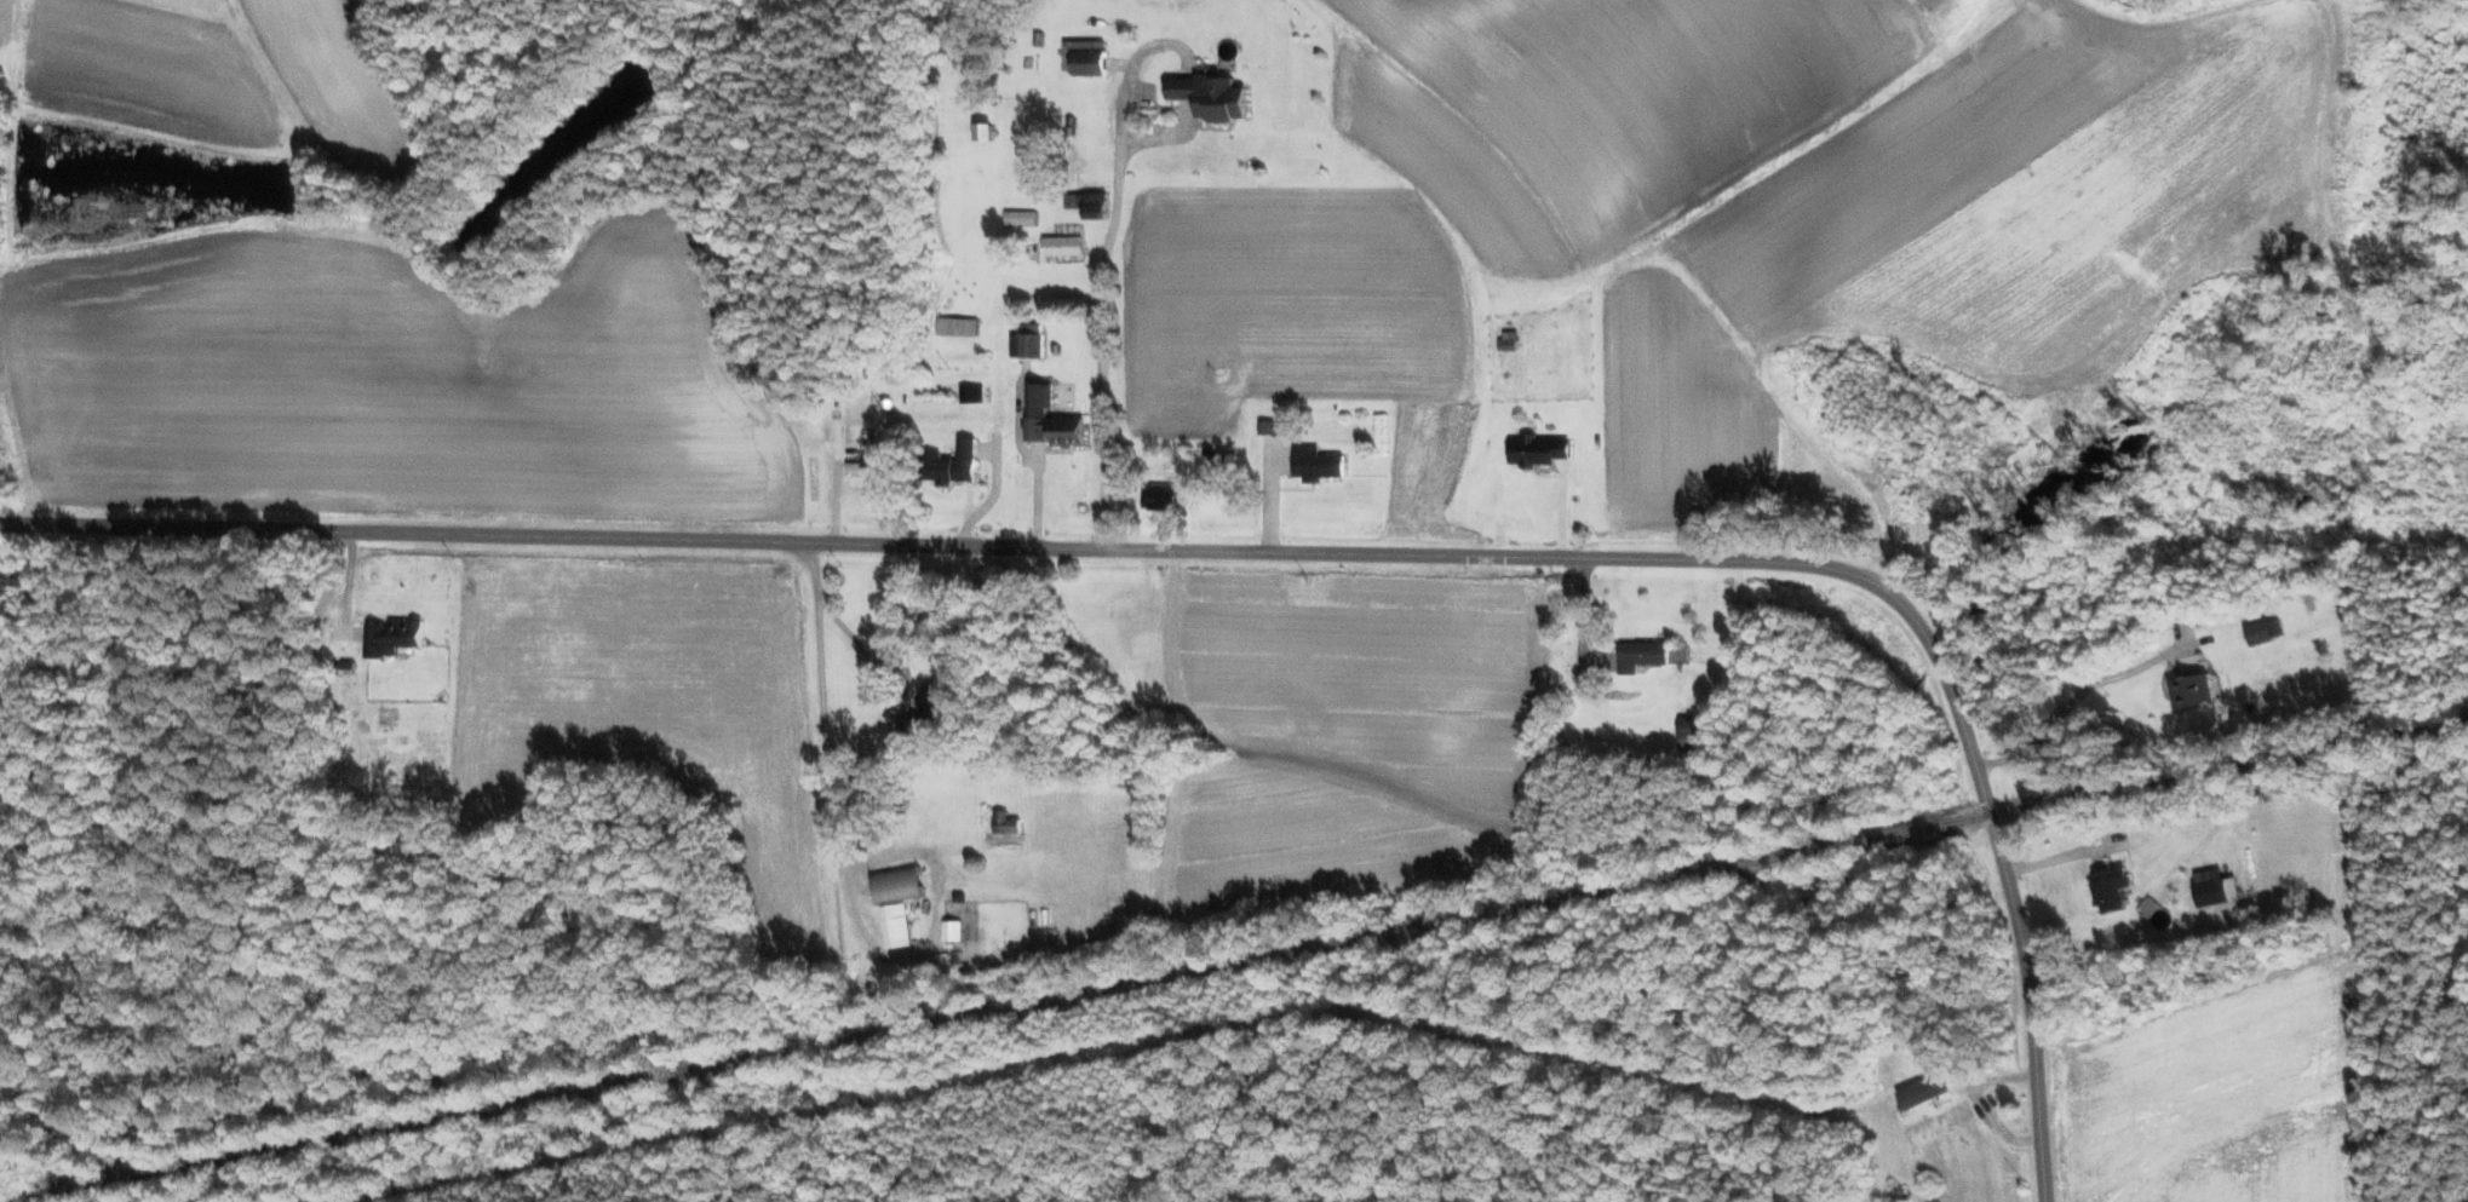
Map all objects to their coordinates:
building: (1084, 57)
building: (1207, 96)
building: (980, 131)
road: (1160, 138)
building: (1018, 218)
building: (1061, 246)
road: (1106, 265)
building: (954, 327)
building: (1026, 341)
building: (1045, 419)
building: (1267, 426)
building: (1534, 450)
building: (947, 464)
building: (1313, 464)
building: (857, 468)
road: (989, 495)
building: (1164, 499)
road: (833, 502)
road: (1559, 518)
road: (1267, 552)
building: (2261, 631)
building: (390, 637)
building: (1638, 655)
building: (2189, 690)
road: (884, 695)
road: (2073, 701)
building: (1689, 732)
road: (828, 801)
building: (1003, 823)
building: (894, 886)
building: (2107, 887)
building: (2208, 892)
building: (894, 926)
building: (951, 931)
railway: (1245, 962)
building: (1921, 1092)

